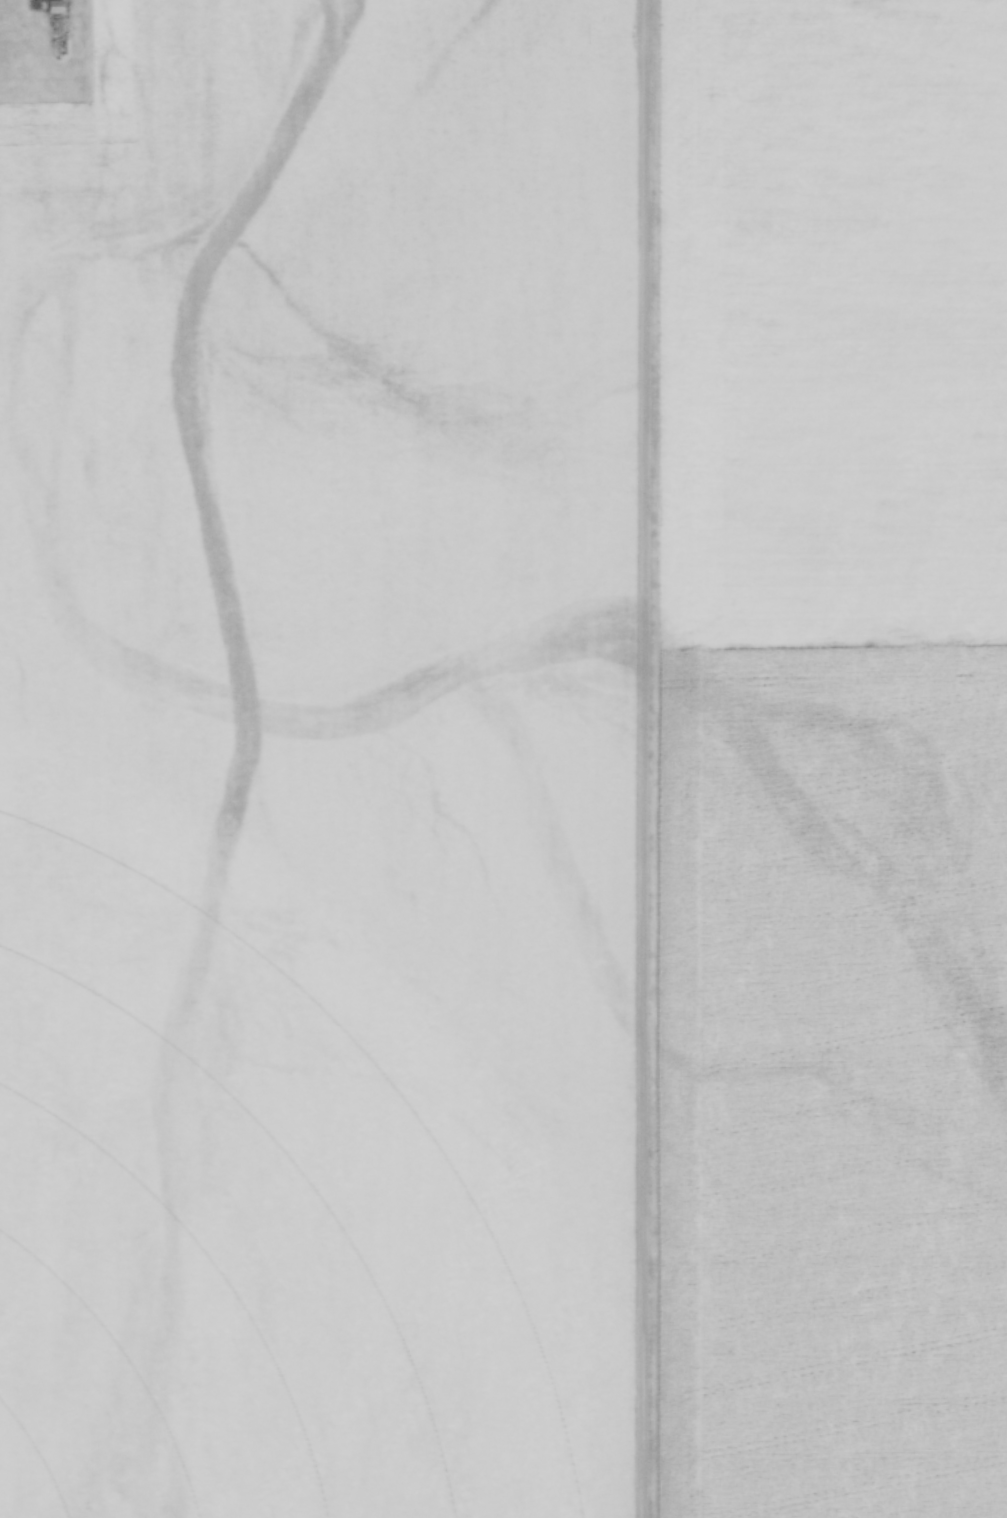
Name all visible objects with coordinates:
road: (654, 759)

